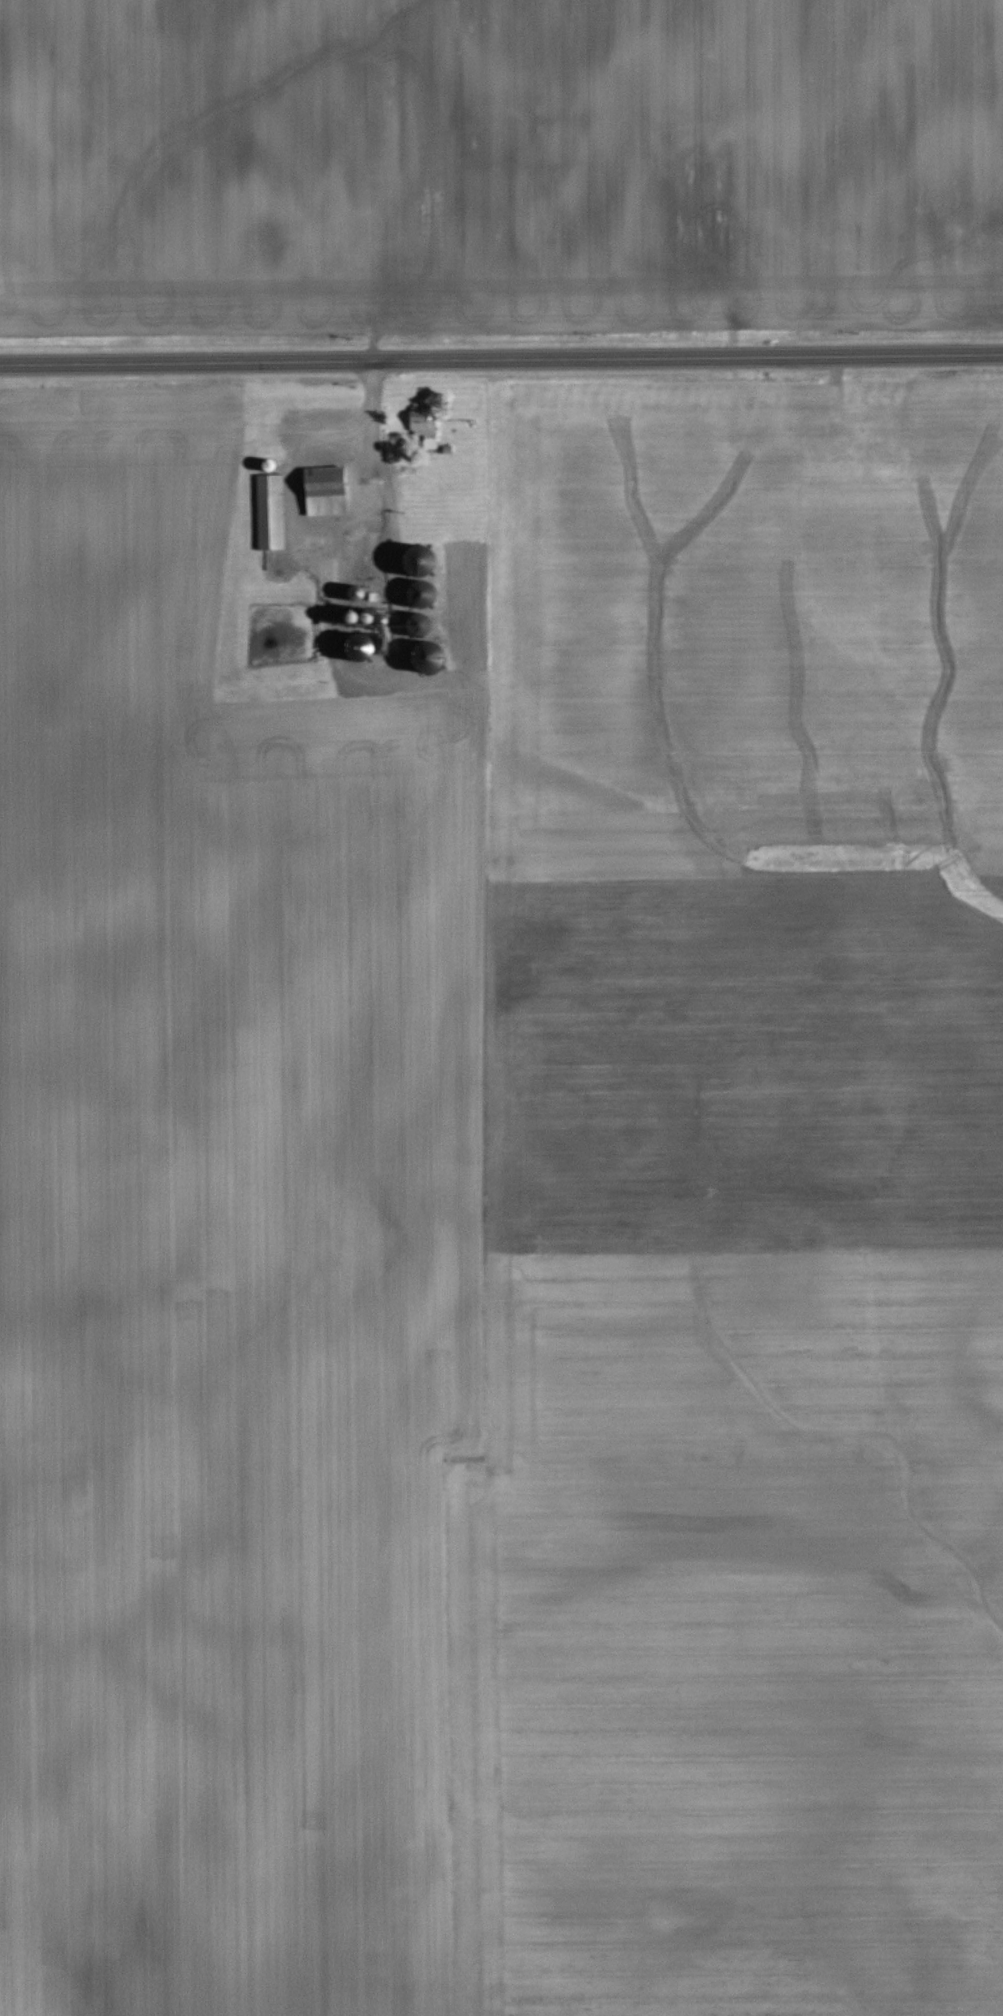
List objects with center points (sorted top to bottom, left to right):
road: (501, 359)
building: (423, 419)
road: (340, 526)

